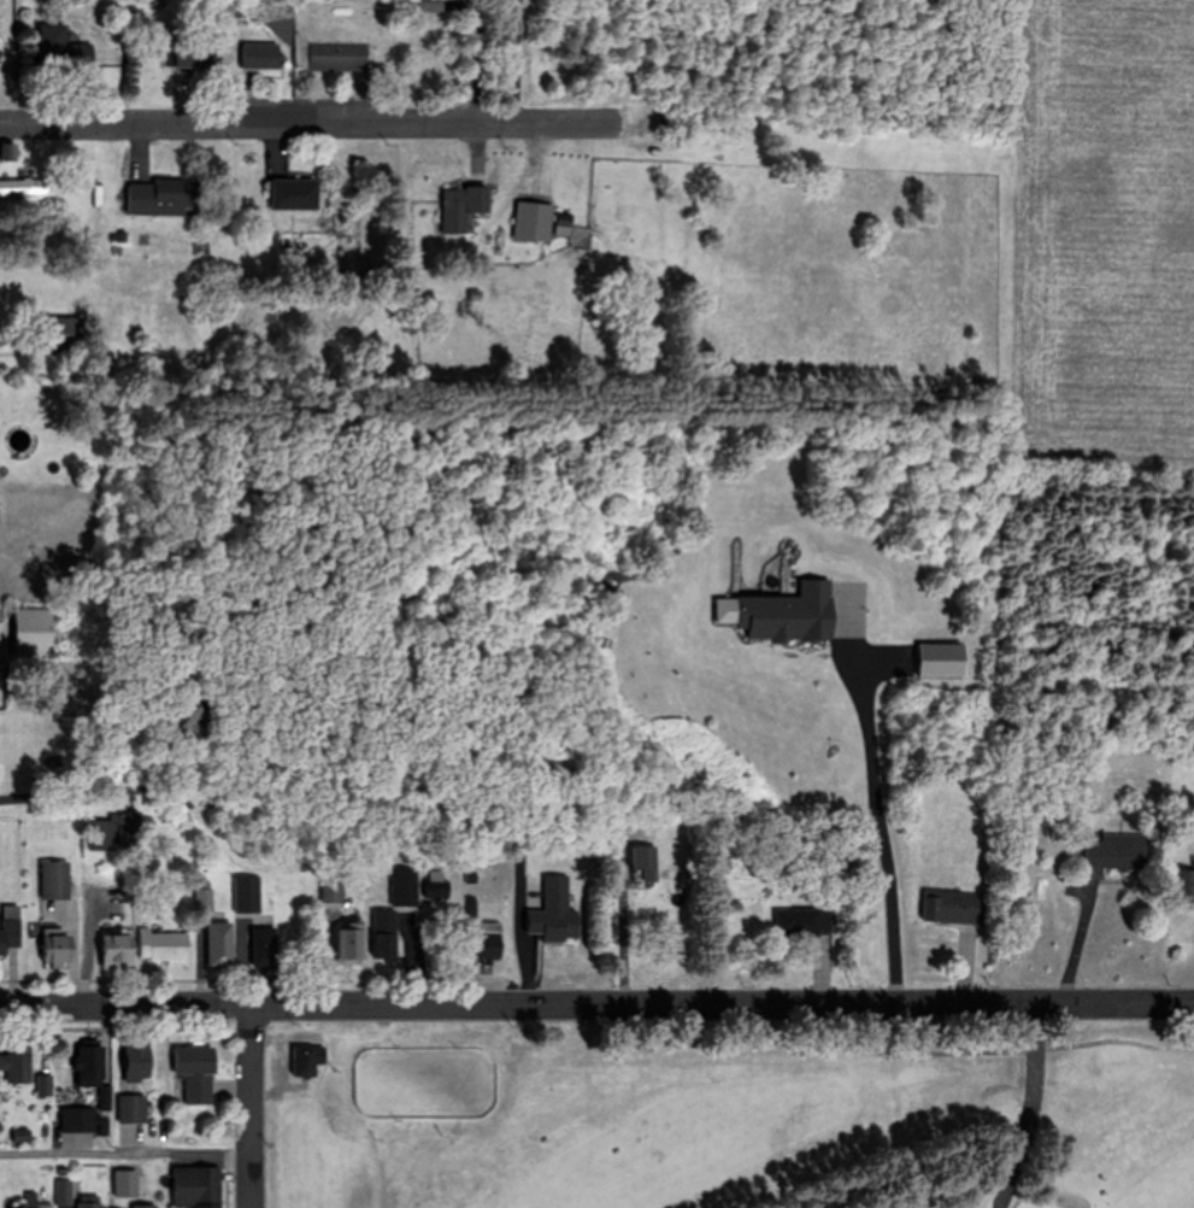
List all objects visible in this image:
building: (425, 5)
building: (64, 49)
building: (198, 53)
building: (263, 55)
building: (339, 55)
road: (512, 61)
road: (316, 125)
building: (25, 187)
building: (296, 194)
building: (160, 197)
building: (463, 206)
building: (61, 332)
building: (33, 632)
road: (114, 760)
road: (877, 831)
building: (104, 834)
building: (1117, 852)
building: (643, 863)
building: (57, 880)
building: (404, 886)
building: (436, 886)
building: (1184, 887)
building: (334, 891)
building: (247, 893)
building: (953, 905)
building: (802, 921)
building: (553, 923)
building: (10, 931)
building: (386, 934)
building: (876, 937)
building: (220, 944)
building: (352, 944)
building: (164, 945)
building: (264, 946)
building: (58, 949)
building: (118, 949)
road: (596, 1004)
road: (1042, 1046)
building: (306, 1061)
building: (17, 1062)
building: (140, 1062)
building: (93, 1071)
building: (195, 1075)
road: (245, 1106)
building: (133, 1108)
road: (1029, 1109)
park: (733, 1120)
road: (123, 1154)
building: (198, 1186)
building: (65, 1191)
building: (30, 1202)
building: (90, 1202)
building: (145, 1206)

